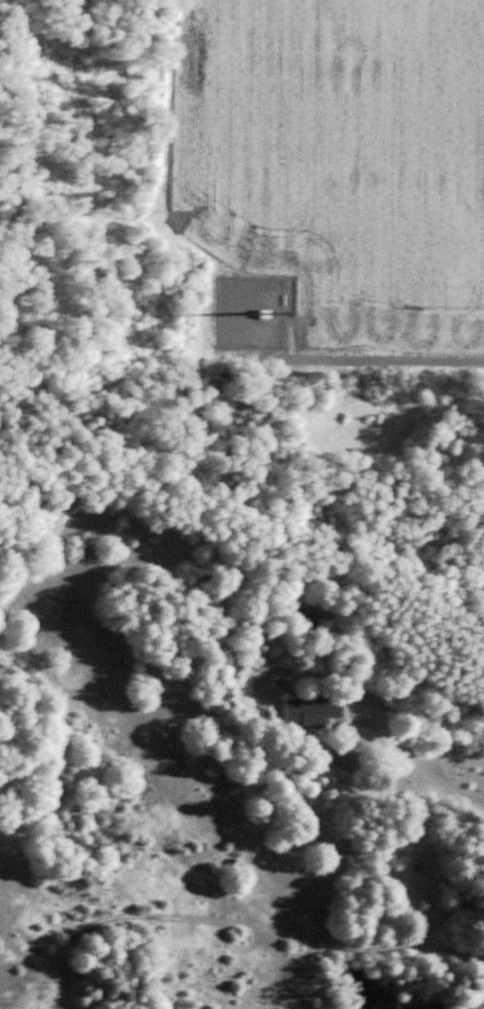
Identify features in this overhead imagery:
road: (370, 342)
building: (300, 617)
building: (303, 713)
road: (423, 768)

